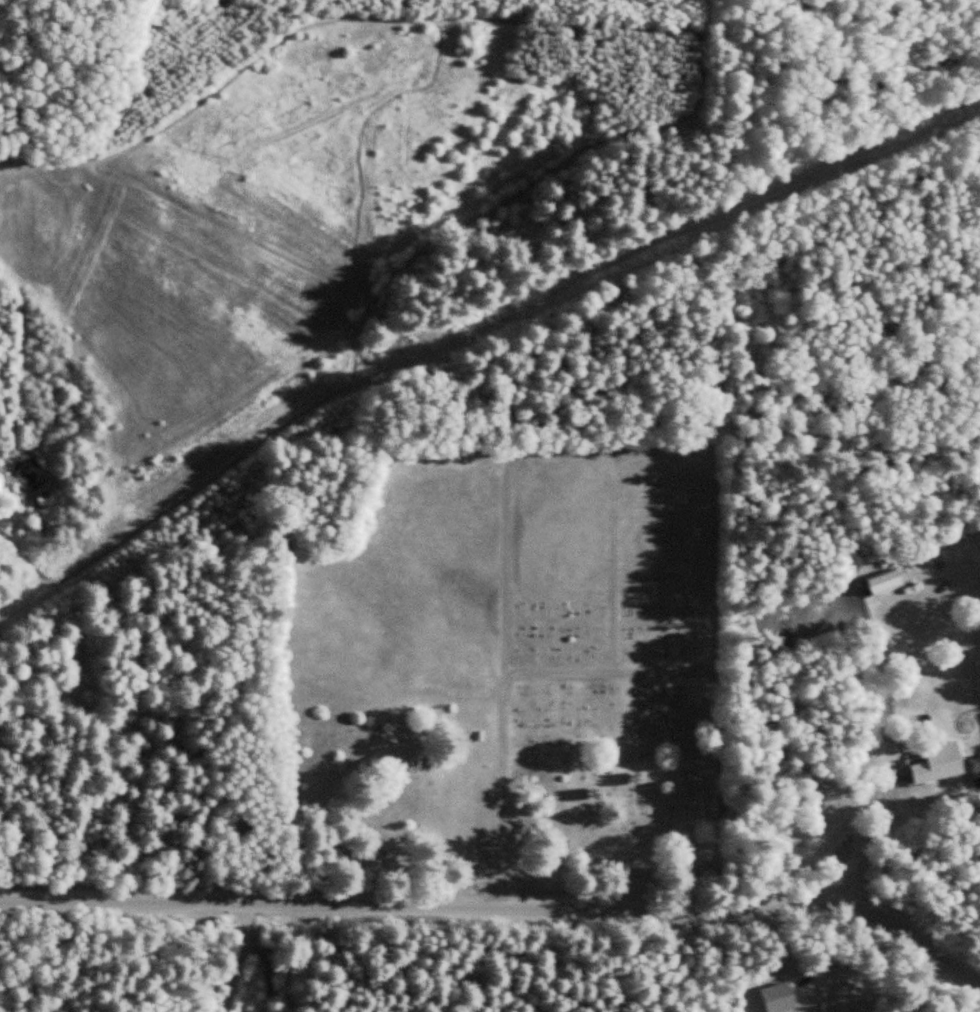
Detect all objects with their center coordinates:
road: (603, 451)
road: (609, 562)
building: (886, 583)
park: (500, 670)
road: (512, 674)
building: (70, 683)
building: (938, 763)
building: (976, 771)
road: (575, 873)
road: (502, 904)

